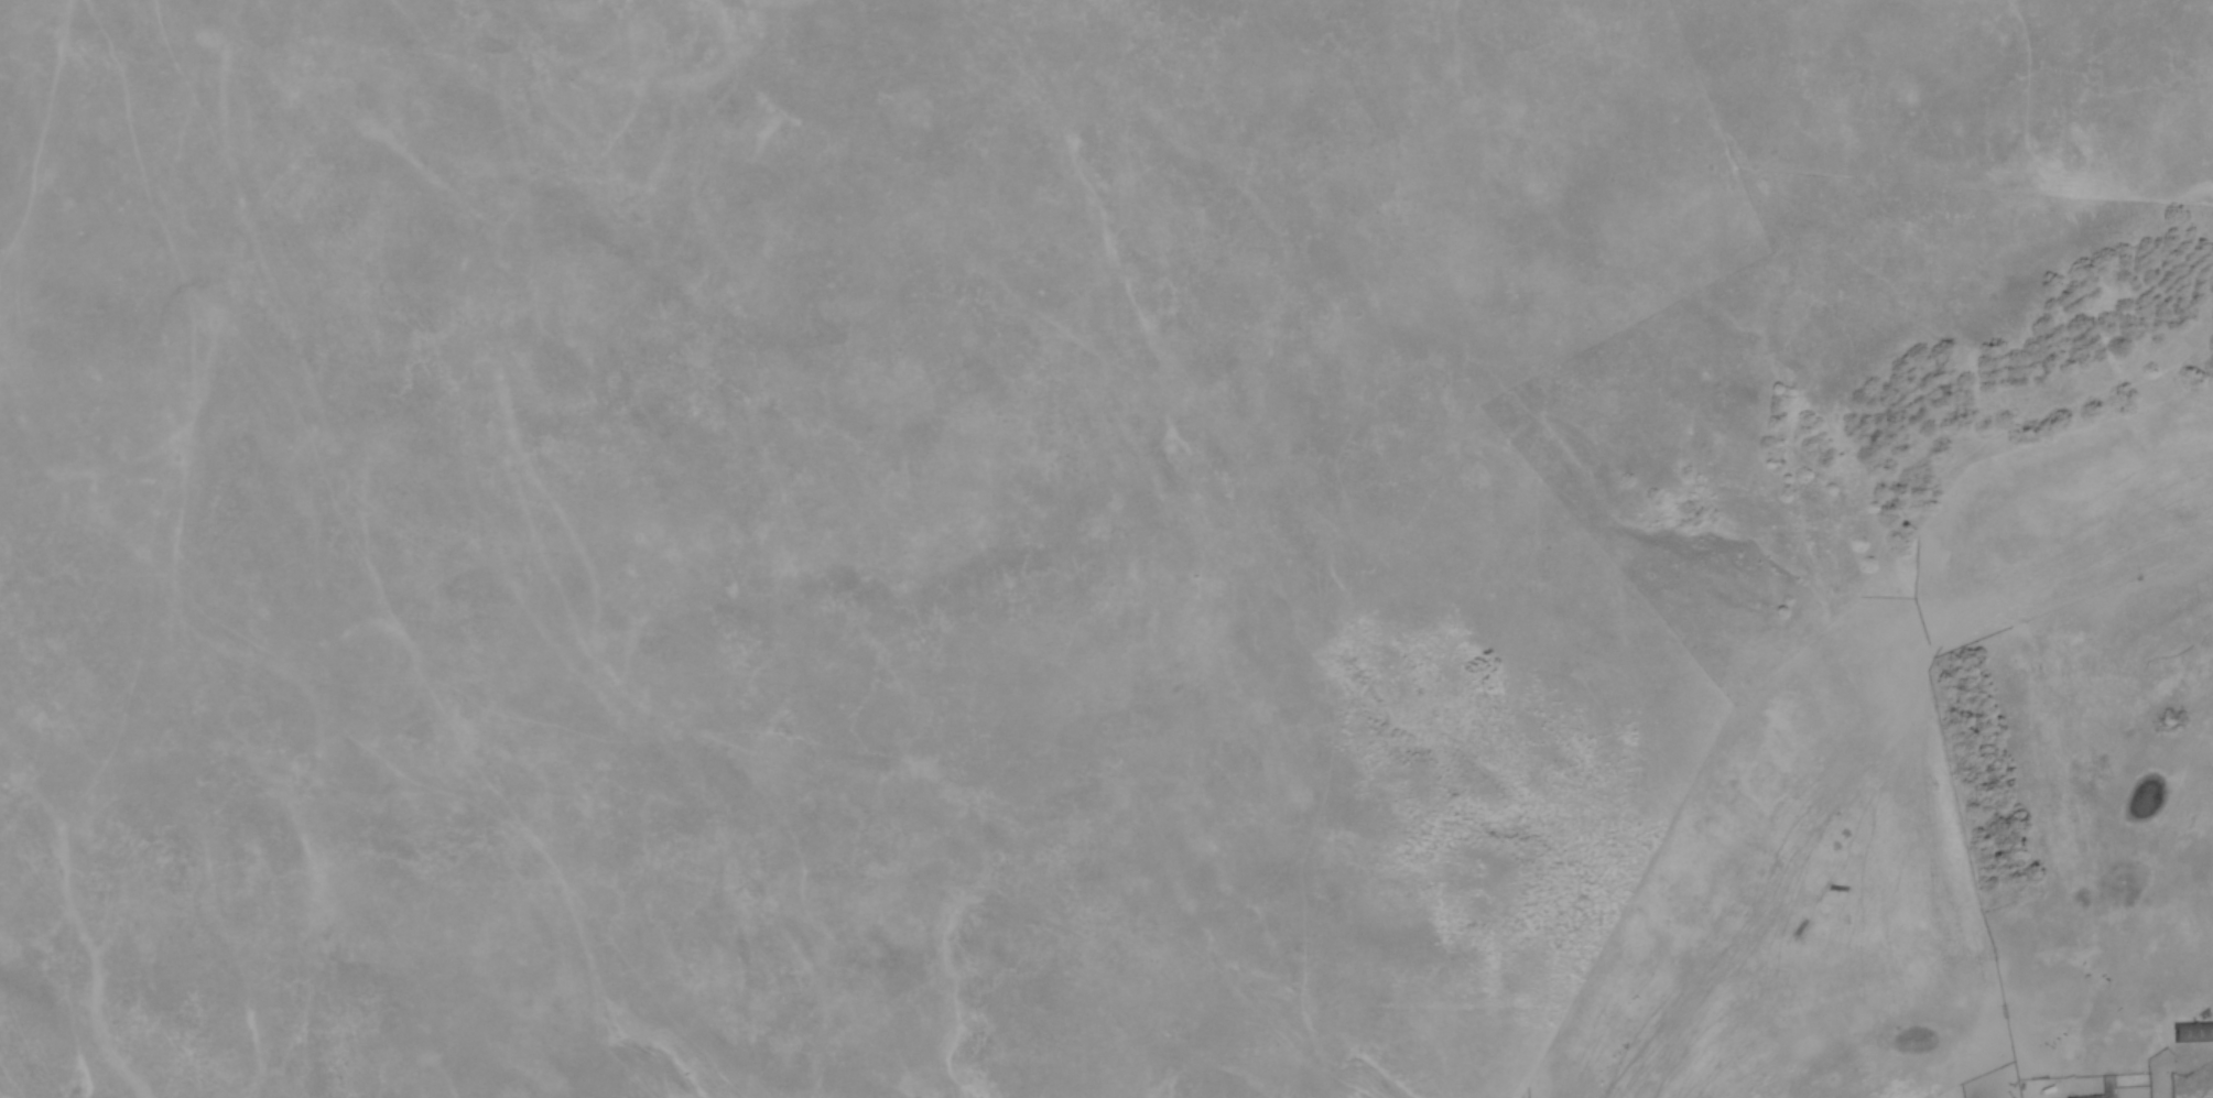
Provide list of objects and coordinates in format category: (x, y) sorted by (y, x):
building: (2191, 1033)

